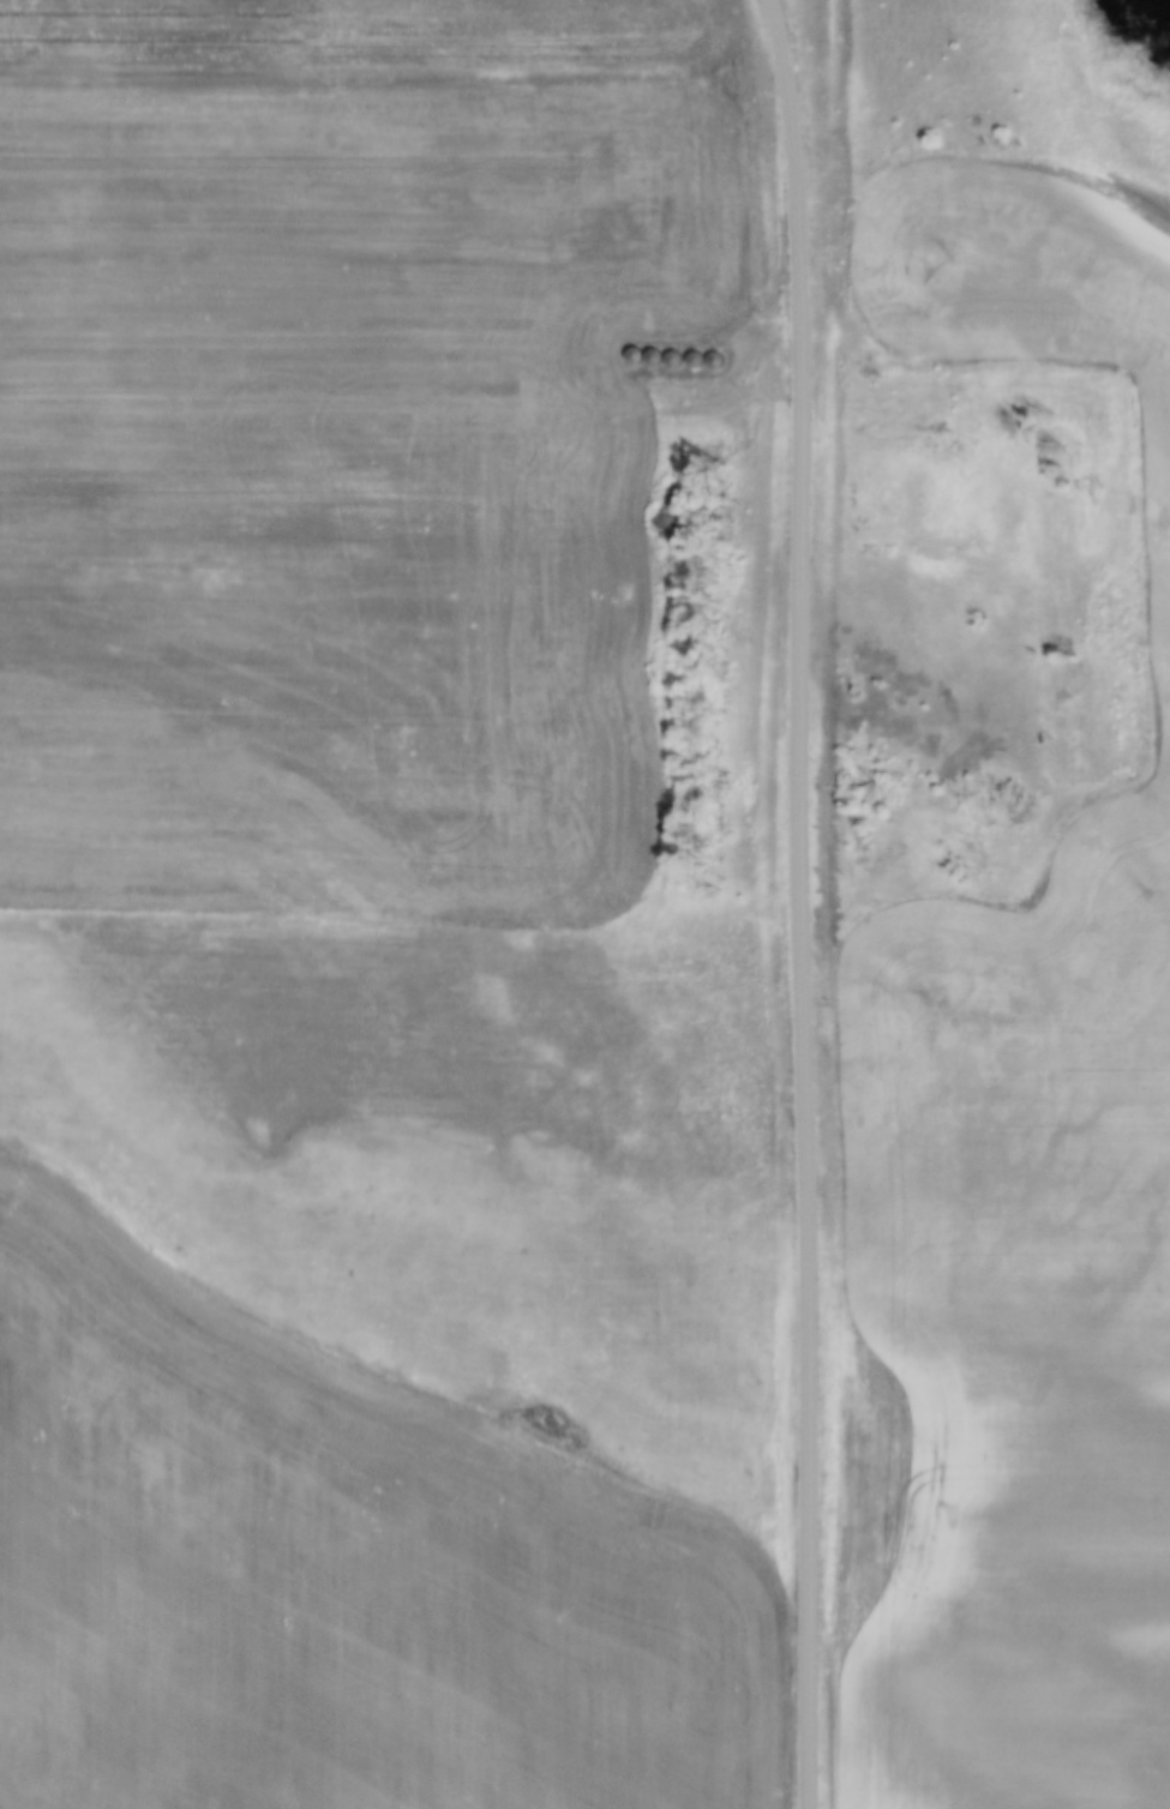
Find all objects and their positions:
road: (797, 903)

